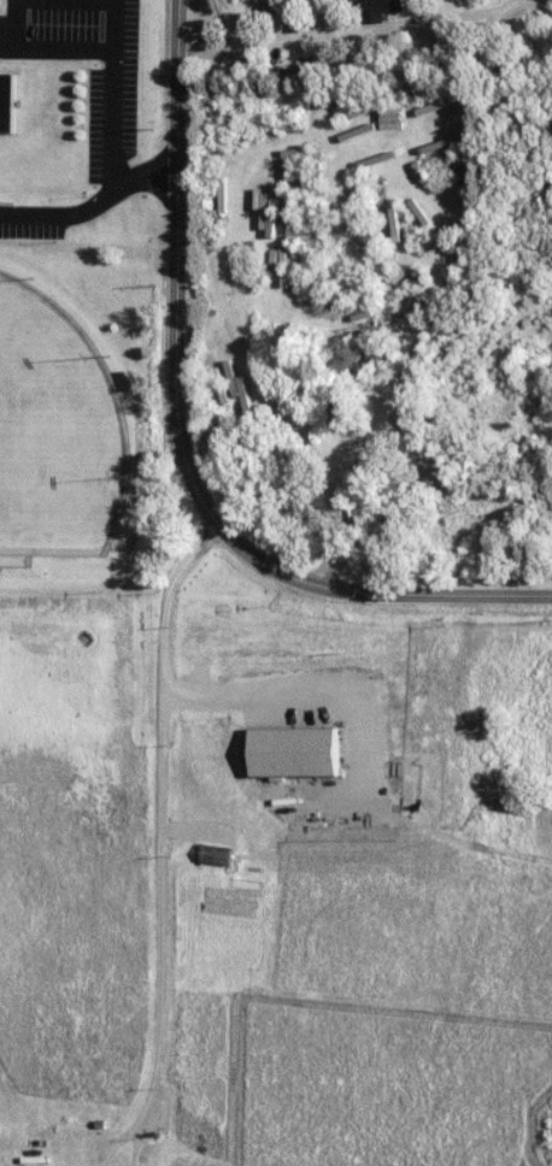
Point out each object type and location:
building: (245, 0)
road: (535, 1)
building: (269, 16)
road: (358, 34)
building: (11, 101)
parking lot: (114, 111)
building: (271, 202)
road: (93, 206)
park: (54, 432)
road: (178, 443)
road: (162, 728)
building: (303, 753)
road: (154, 1068)

